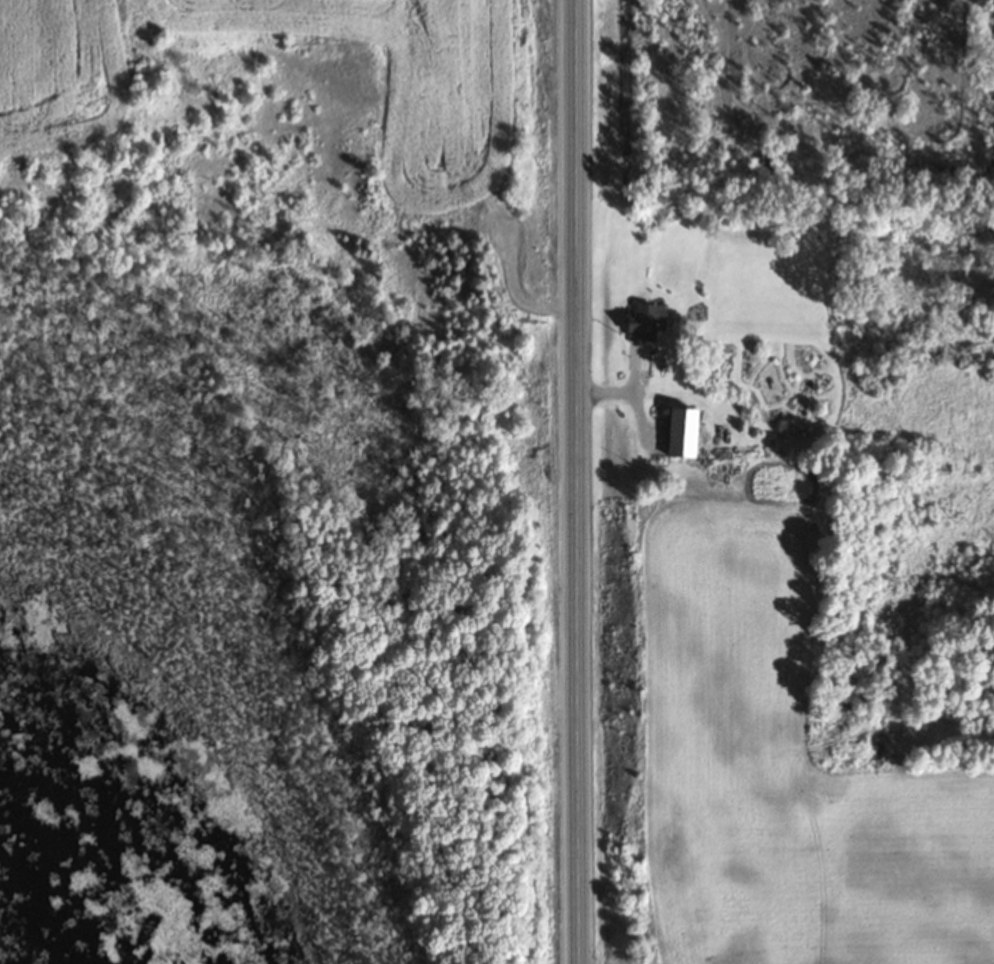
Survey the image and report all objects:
building: (639, 323)
building: (679, 433)
road: (578, 481)

